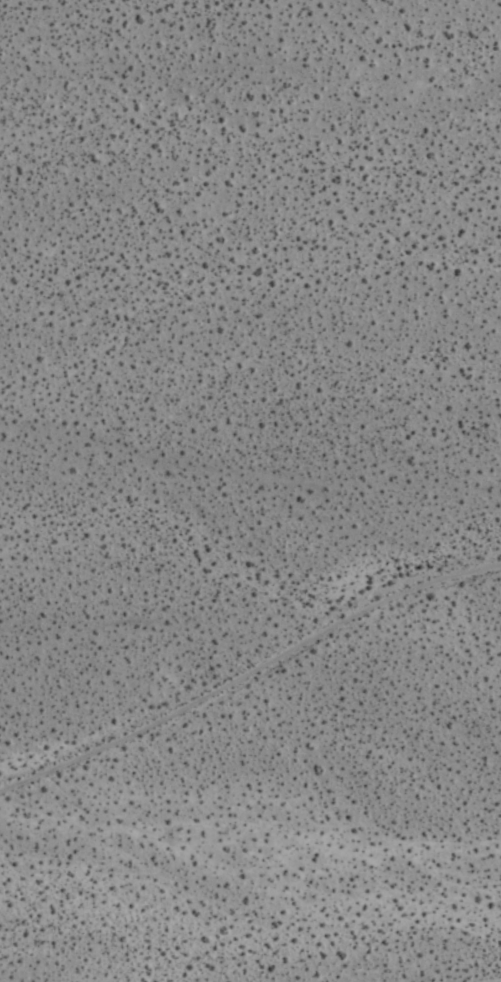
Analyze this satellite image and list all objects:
road: (240, 678)

